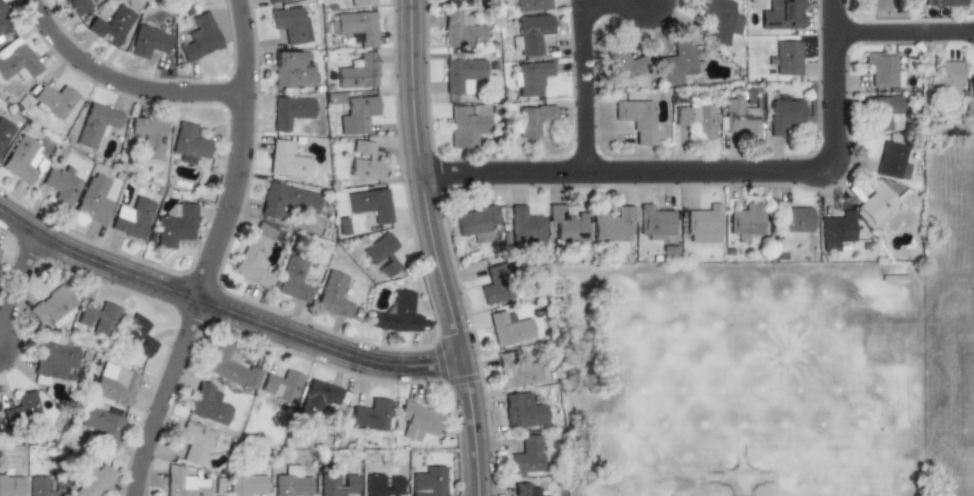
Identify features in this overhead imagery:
building: (177, 0)
building: (447, 0)
building: (272, 1)
building: (360, 2)
building: (946, 2)
building: (875, 4)
building: (76, 5)
building: (531, 5)
road: (609, 7)
building: (778, 13)
building: (719, 19)
building: (4, 21)
building: (291, 24)
building: (110, 25)
building: (354, 26)
building: (461, 30)
building: (532, 34)
building: (198, 38)
building: (148, 41)
road: (900, 41)
building: (786, 58)
building: (16, 60)
building: (676, 62)
building: (625, 63)
building: (882, 68)
building: (292, 69)
building: (358, 71)
building: (462, 73)
building: (946, 74)
building: (529, 77)
road: (118, 85)
road: (581, 89)
road: (827, 89)
building: (971, 89)
building: (334, 98)
building: (52, 101)
building: (290, 111)
building: (784, 111)
building: (885, 113)
building: (357, 114)
building: (694, 117)
building: (739, 117)
building: (636, 119)
building: (529, 120)
building: (467, 123)
building: (96, 124)
building: (5, 132)
building: (148, 136)
building: (189, 143)
building: (22, 159)
building: (287, 160)
building: (364, 161)
building: (892, 161)
road: (622, 179)
building: (61, 185)
building: (94, 199)
building: (286, 200)
building: (876, 202)
building: (370, 204)
building: (133, 217)
building: (747, 219)
building: (475, 222)
building: (655, 222)
building: (792, 222)
building: (175, 224)
building: (567, 224)
building: (614, 225)
building: (703, 225)
building: (524, 226)
building: (836, 231)
road: (430, 249)
road: (215, 252)
building: (668, 252)
building: (255, 255)
building: (381, 255)
building: (294, 280)
building: (494, 284)
building: (334, 295)
road: (21, 297)
building: (52, 307)
road: (225, 314)
building: (396, 315)
building: (98, 318)
building: (508, 328)
building: (137, 335)
building: (52, 360)
building: (229, 366)
building: (514, 369)
building: (115, 385)
building: (280, 386)
building: (319, 395)
building: (206, 403)
building: (24, 406)
building: (523, 409)
building: (370, 414)
building: (417, 420)
building: (101, 425)
building: (193, 443)
building: (527, 455)
building: (90, 479)
building: (429, 481)
building: (290, 482)
building: (180, 483)
building: (10, 484)
building: (244, 484)
building: (336, 484)
building: (382, 484)
building: (46, 486)
building: (526, 489)

